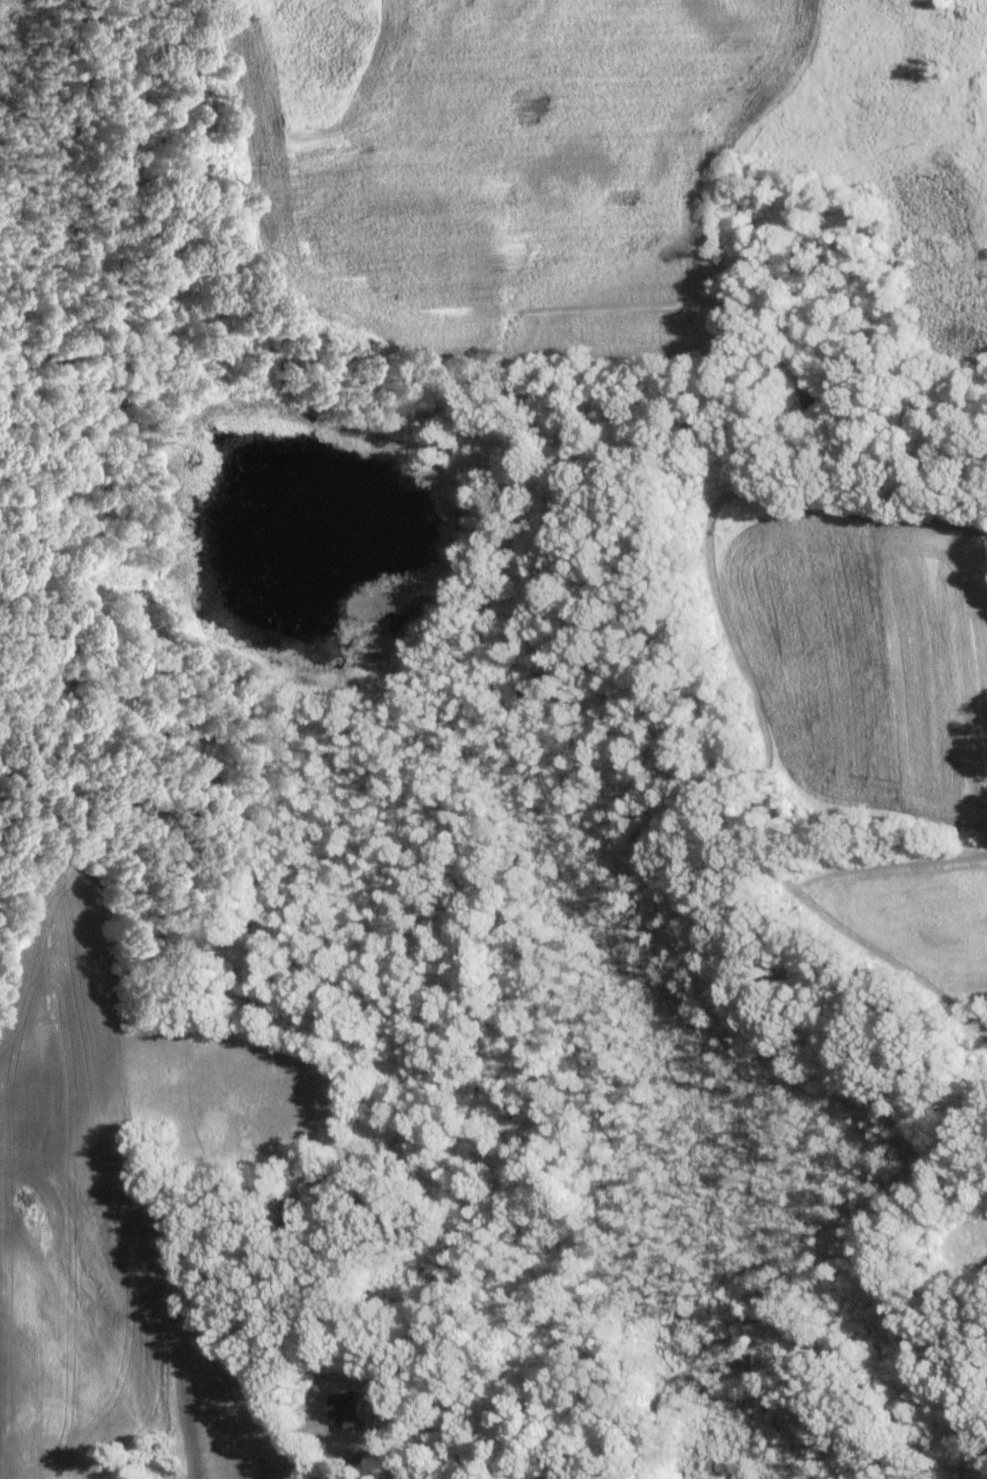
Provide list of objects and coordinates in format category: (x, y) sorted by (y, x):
road: (354, 1464)

